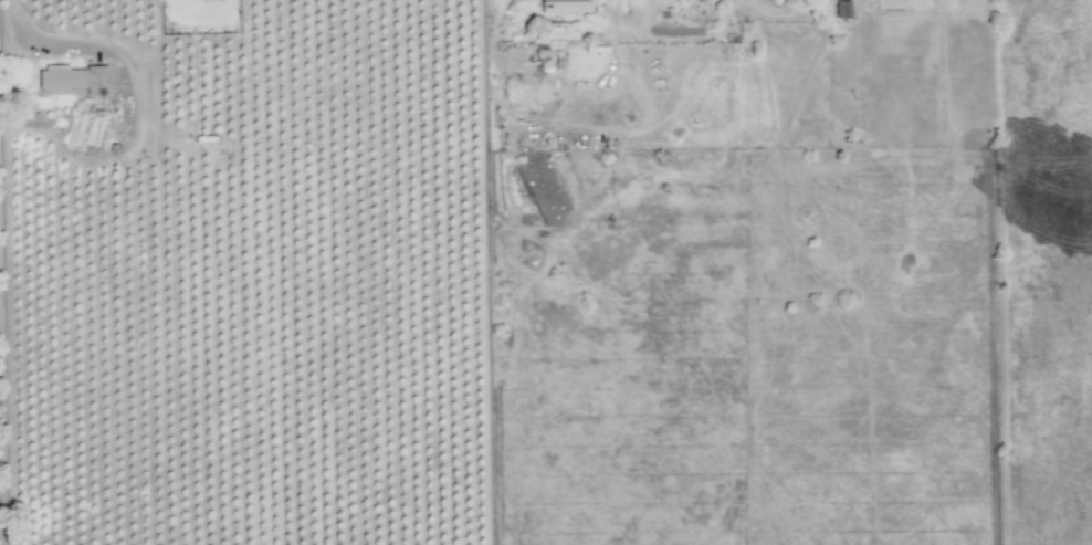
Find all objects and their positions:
building: (565, 6)
road: (503, 8)
building: (841, 9)
road: (25, 38)
building: (72, 78)

